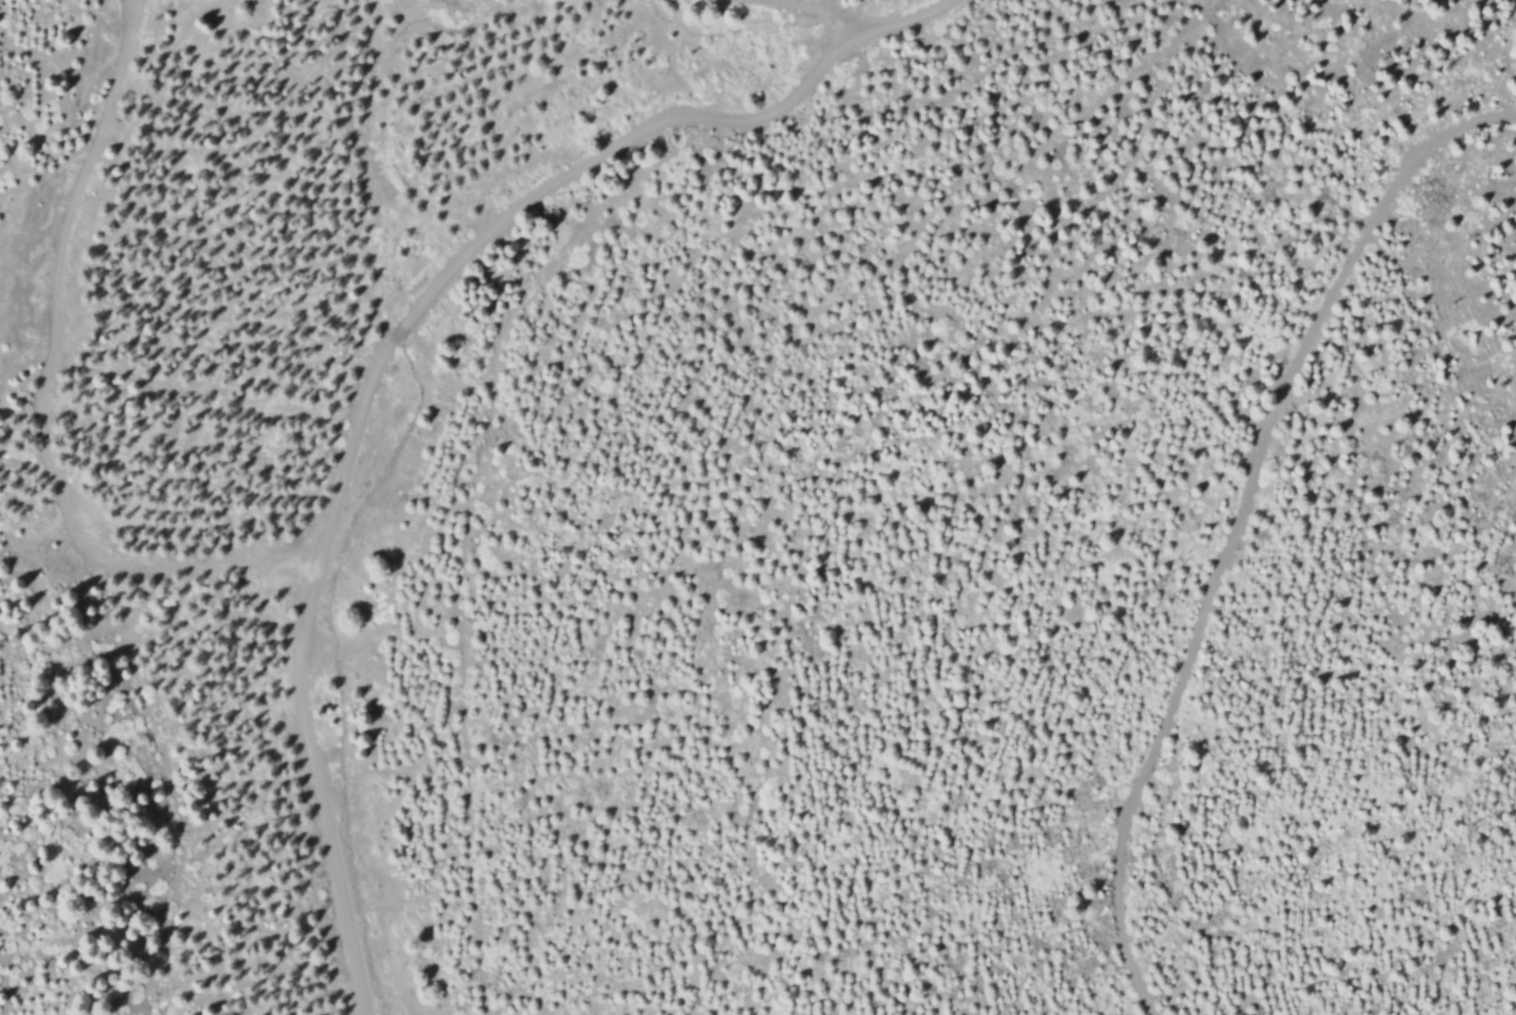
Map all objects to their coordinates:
road: (806, 16)
road: (909, 19)
road: (1109, 87)
road: (58, 310)
road: (368, 392)
road: (1238, 520)
road: (140, 709)

